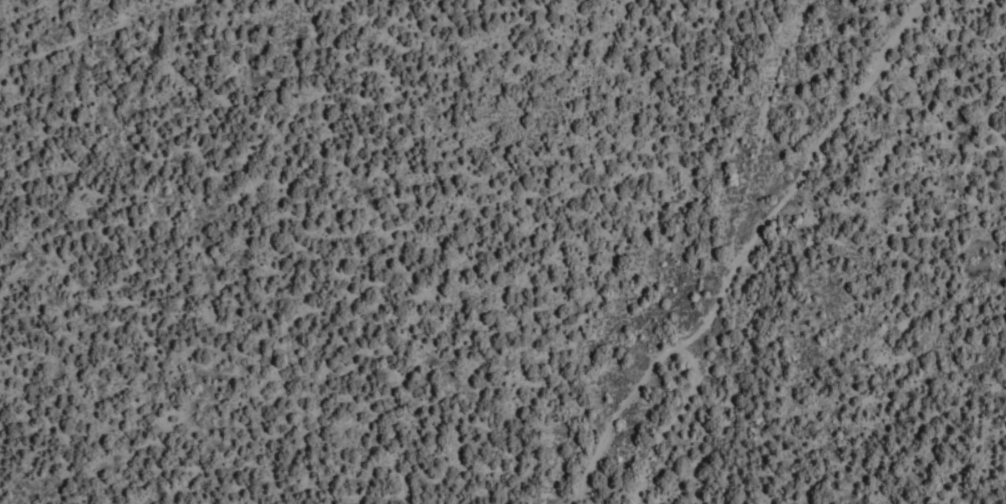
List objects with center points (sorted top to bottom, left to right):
road: (681, 258)

